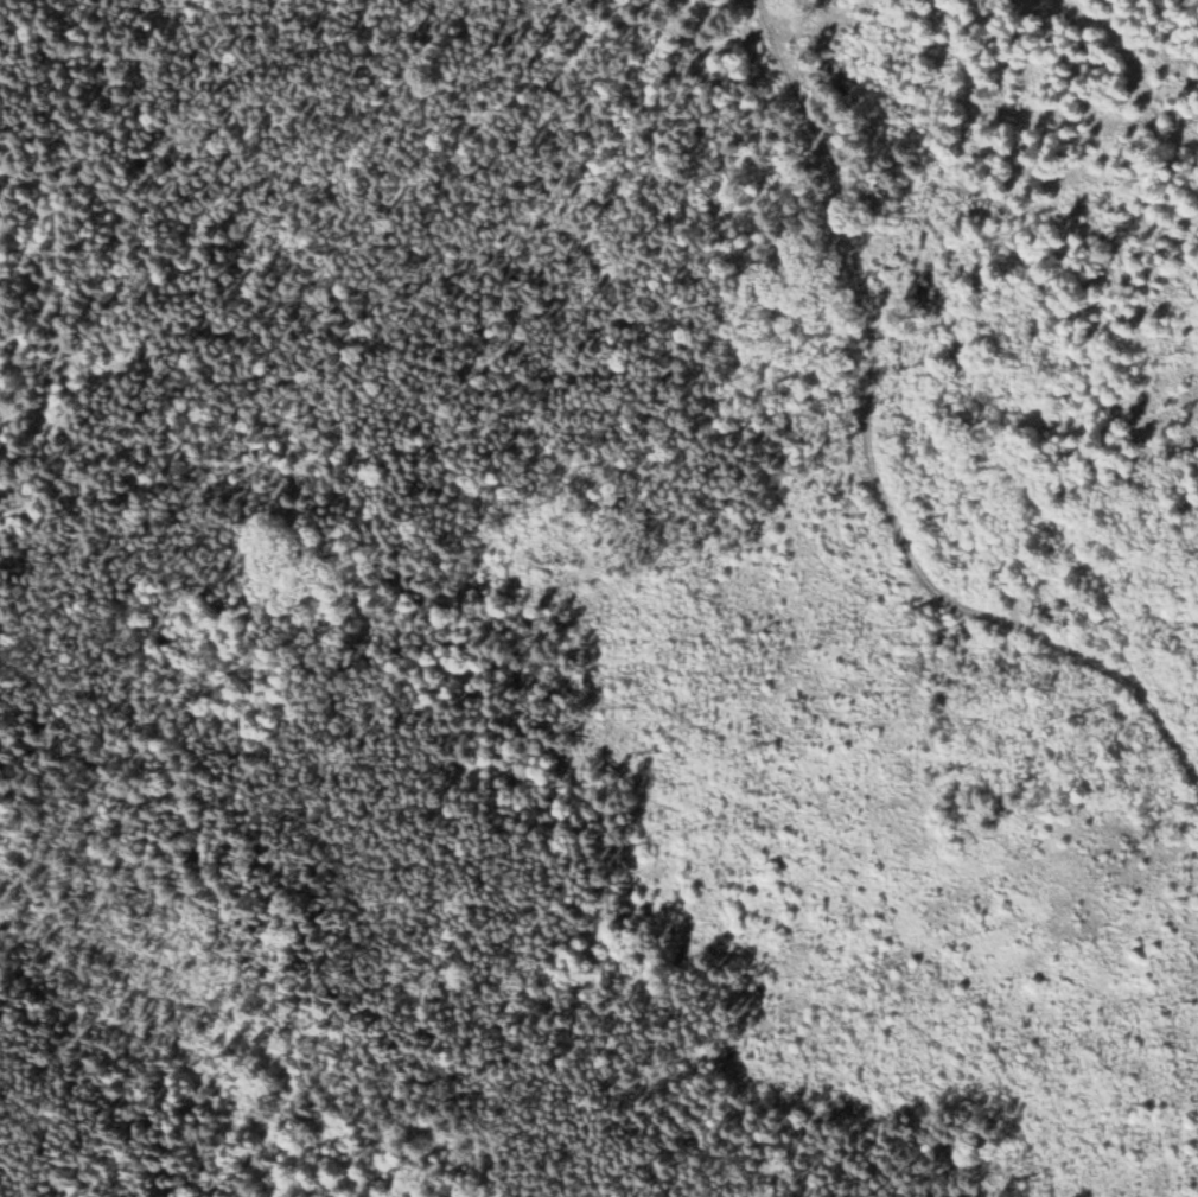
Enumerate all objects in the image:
road: (877, 463)

